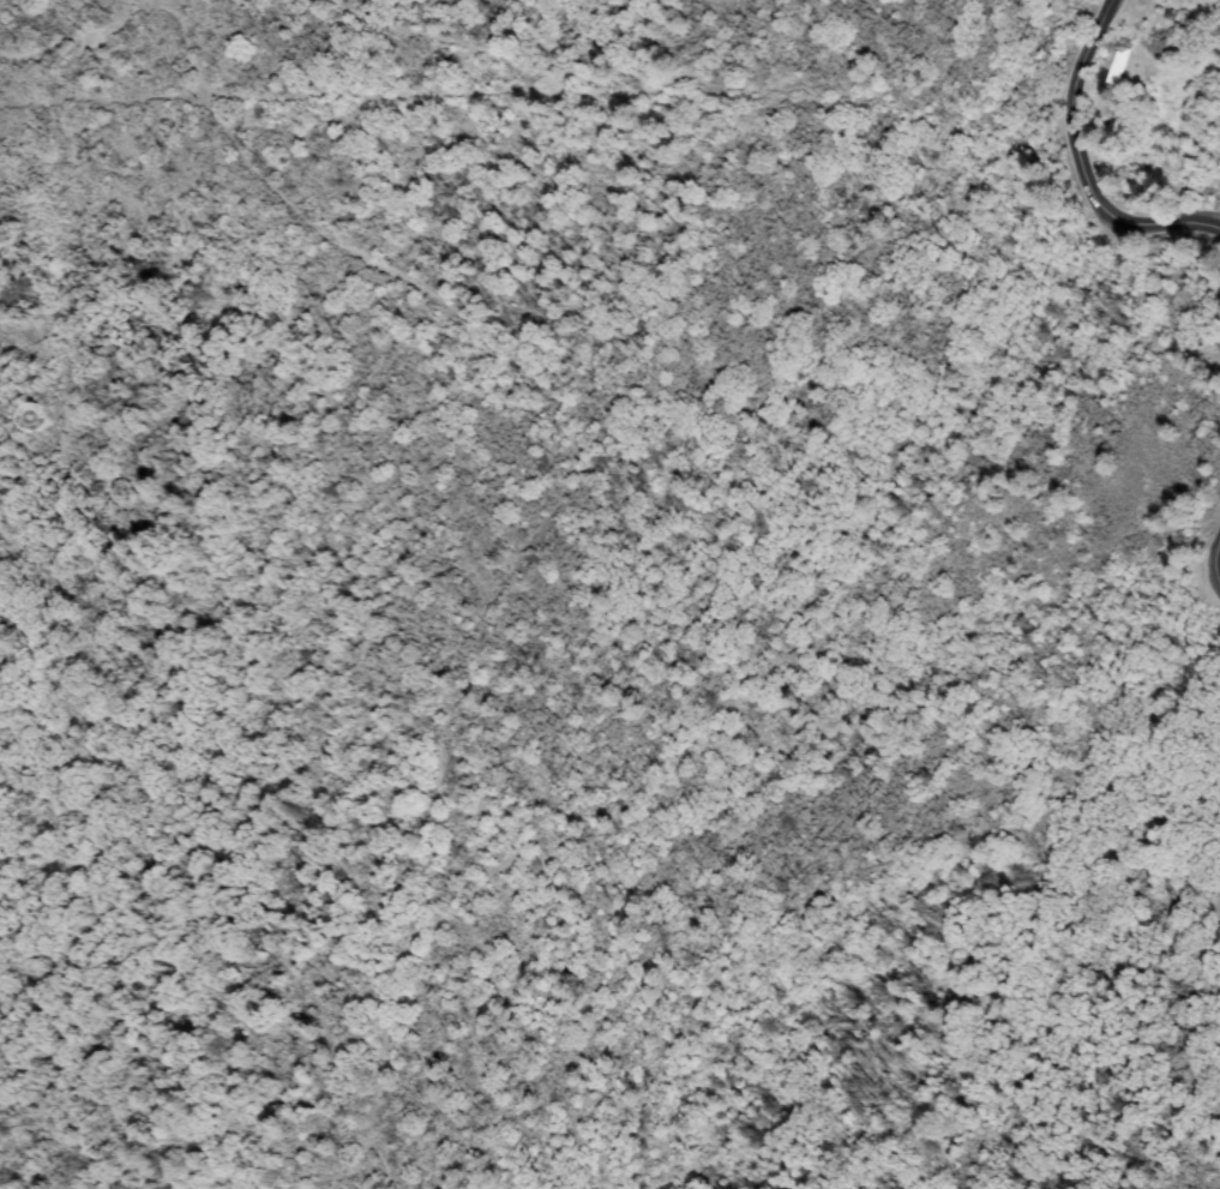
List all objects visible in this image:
building: (1113, 64)
road: (1077, 167)
building: (28, 416)
storage tank: (34, 418)
road: (1195, 570)

